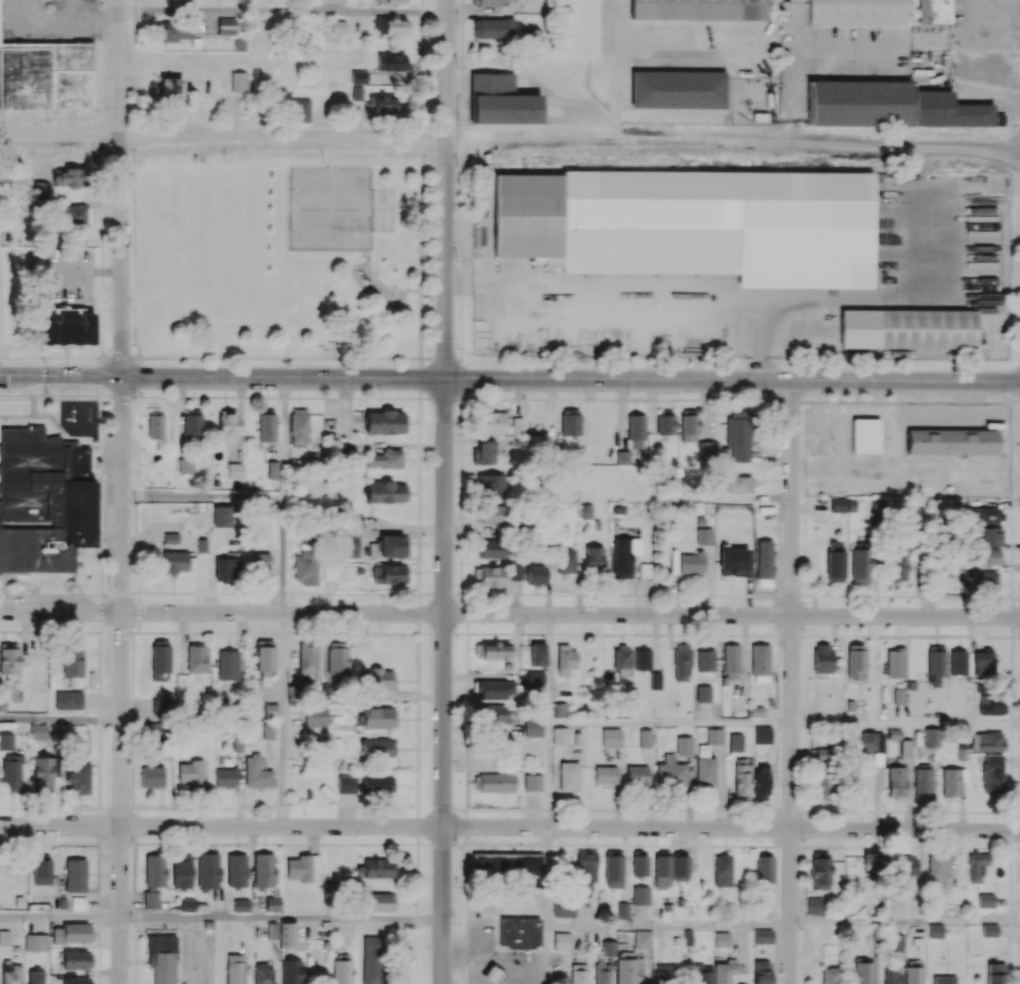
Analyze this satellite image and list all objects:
building: (696, 10)
road: (282, 11)
building: (858, 13)
building: (931, 13)
road: (793, 27)
building: (578, 29)
road: (848, 55)
building: (44, 78)
building: (676, 91)
building: (769, 100)
building: (498, 102)
building: (889, 108)
building: (759, 117)
road: (223, 135)
road: (734, 141)
road: (119, 189)
road: (446, 189)
park: (329, 209)
park: (382, 211)
building: (693, 224)
park: (277, 261)
road: (644, 291)
road: (934, 291)
building: (907, 330)
road: (510, 379)
building: (865, 437)
building: (950, 442)
road: (283, 496)
road: (202, 497)
road: (510, 614)
road: (548, 670)
road: (121, 681)
road: (443, 681)
road: (791, 682)
road: (60, 720)
road: (282, 720)
road: (669, 724)
road: (905, 724)
road: (547, 776)
road: (510, 827)
road: (546, 876)
road: (59, 917)
road: (281, 918)
road: (904, 922)
road: (667, 924)
building: (208, 926)
building: (520, 933)
road: (480, 937)
building: (520, 949)
road: (196, 951)
road: (461, 953)
road: (545, 954)
building: (161, 959)
road: (506, 966)
road: (480, 968)
road: (532, 975)
building: (492, 976)

